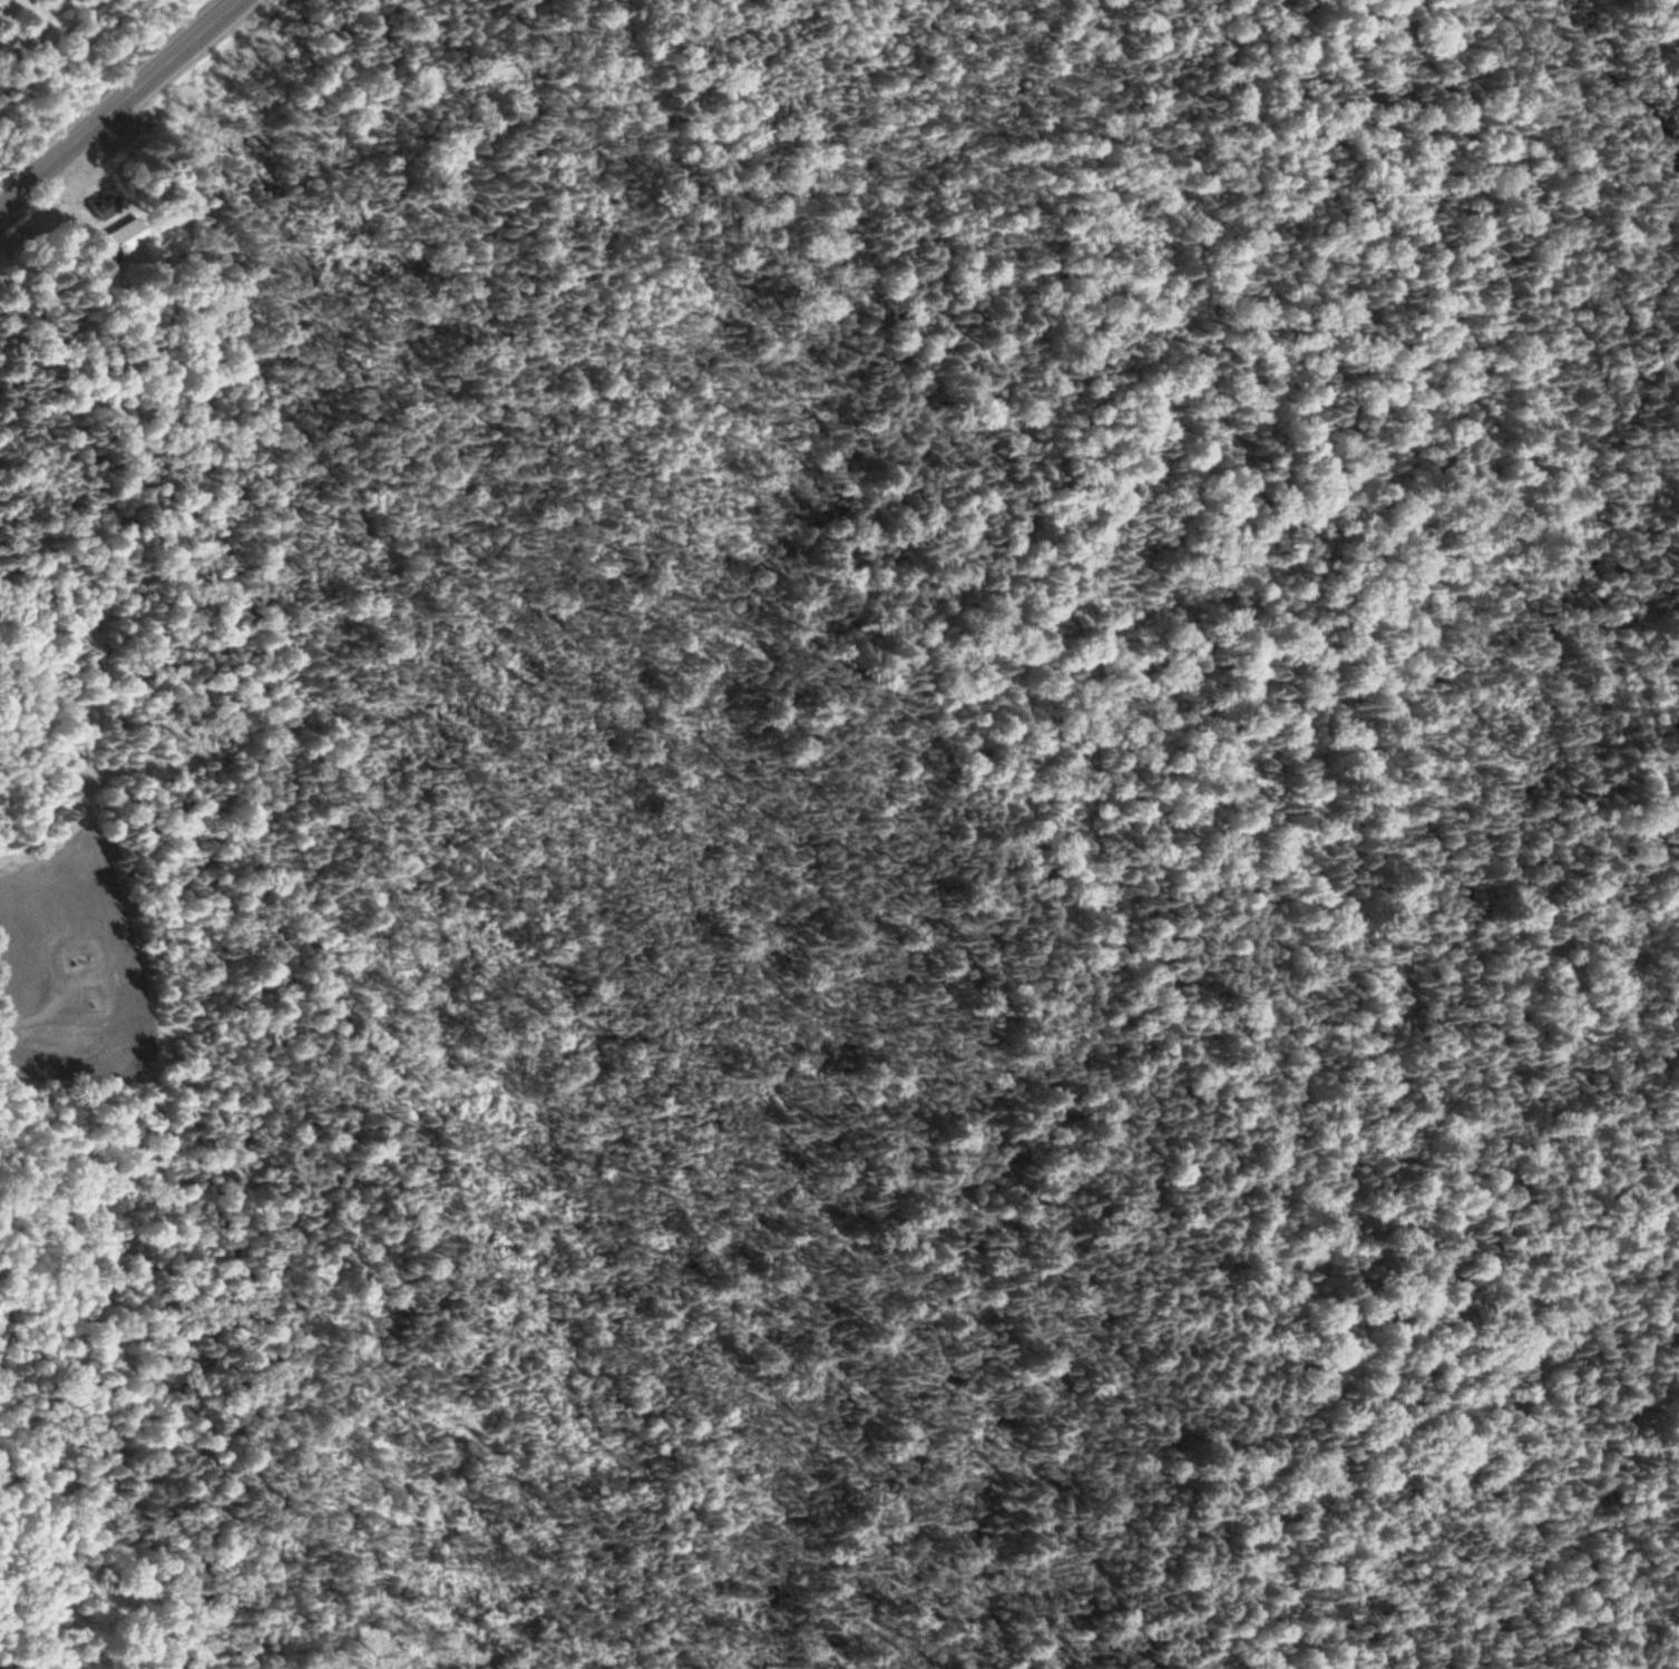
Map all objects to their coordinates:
road: (65, 47)
road: (119, 105)
building: (100, 207)

